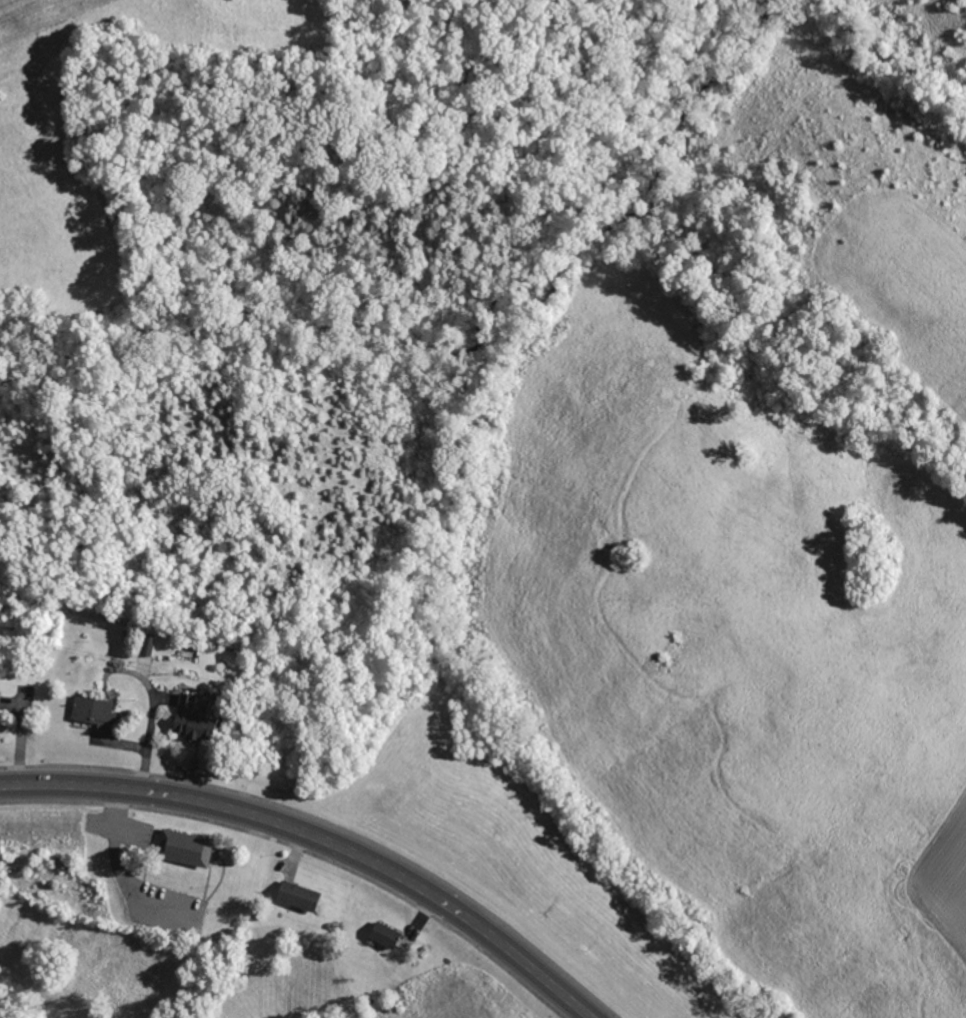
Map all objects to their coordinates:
building: (90, 711)
building: (189, 721)
road: (320, 837)
building: (180, 848)
building: (294, 896)
building: (382, 935)

